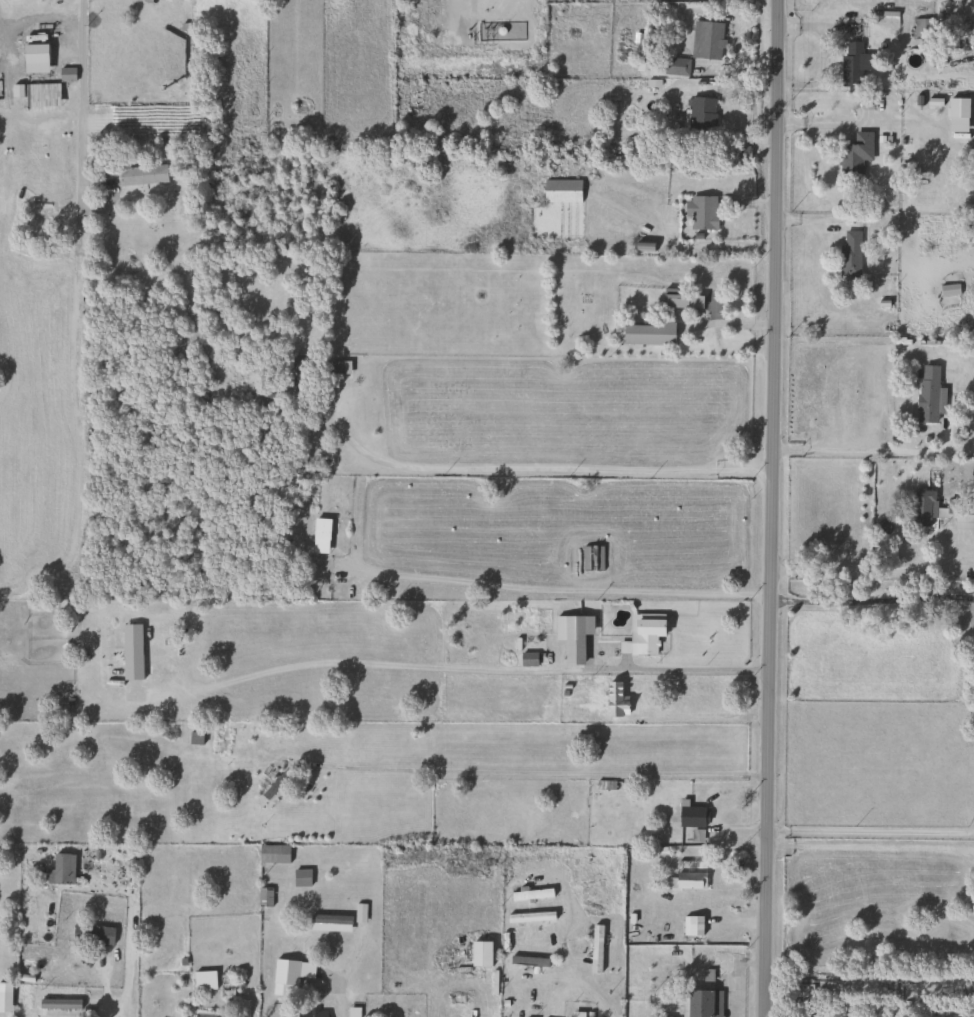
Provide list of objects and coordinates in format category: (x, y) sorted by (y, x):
road: (39, 19)
building: (922, 29)
building: (706, 40)
building: (34, 58)
building: (853, 64)
building: (675, 66)
building: (67, 74)
building: (41, 95)
road: (79, 106)
building: (972, 110)
building: (700, 116)
building: (854, 154)
building: (142, 175)
building: (561, 191)
building: (703, 213)
building: (849, 254)
building: (674, 301)
building: (648, 334)
building: (334, 368)
building: (299, 379)
building: (927, 394)
road: (883, 450)
road: (555, 469)
road: (773, 508)
building: (924, 509)
building: (320, 536)
building: (592, 558)
road: (871, 569)
road: (566, 590)
road: (873, 599)
building: (644, 636)
building: (573, 637)
building: (527, 660)
road: (662, 669)
building: (615, 701)
road: (705, 716)
road: (539, 771)
building: (276, 785)
building: (691, 816)
road: (872, 830)
building: (273, 855)
building: (61, 870)
building: (301, 878)
building: (690, 881)
building: (264, 897)
building: (530, 917)
building: (692, 926)
building: (94, 935)
road: (130, 945)
building: (596, 949)
building: (481, 954)
building: (529, 961)
building: (204, 981)
road: (582, 984)
building: (703, 1003)
building: (59, 1004)
road: (341, 1008)
building: (311, 1014)

